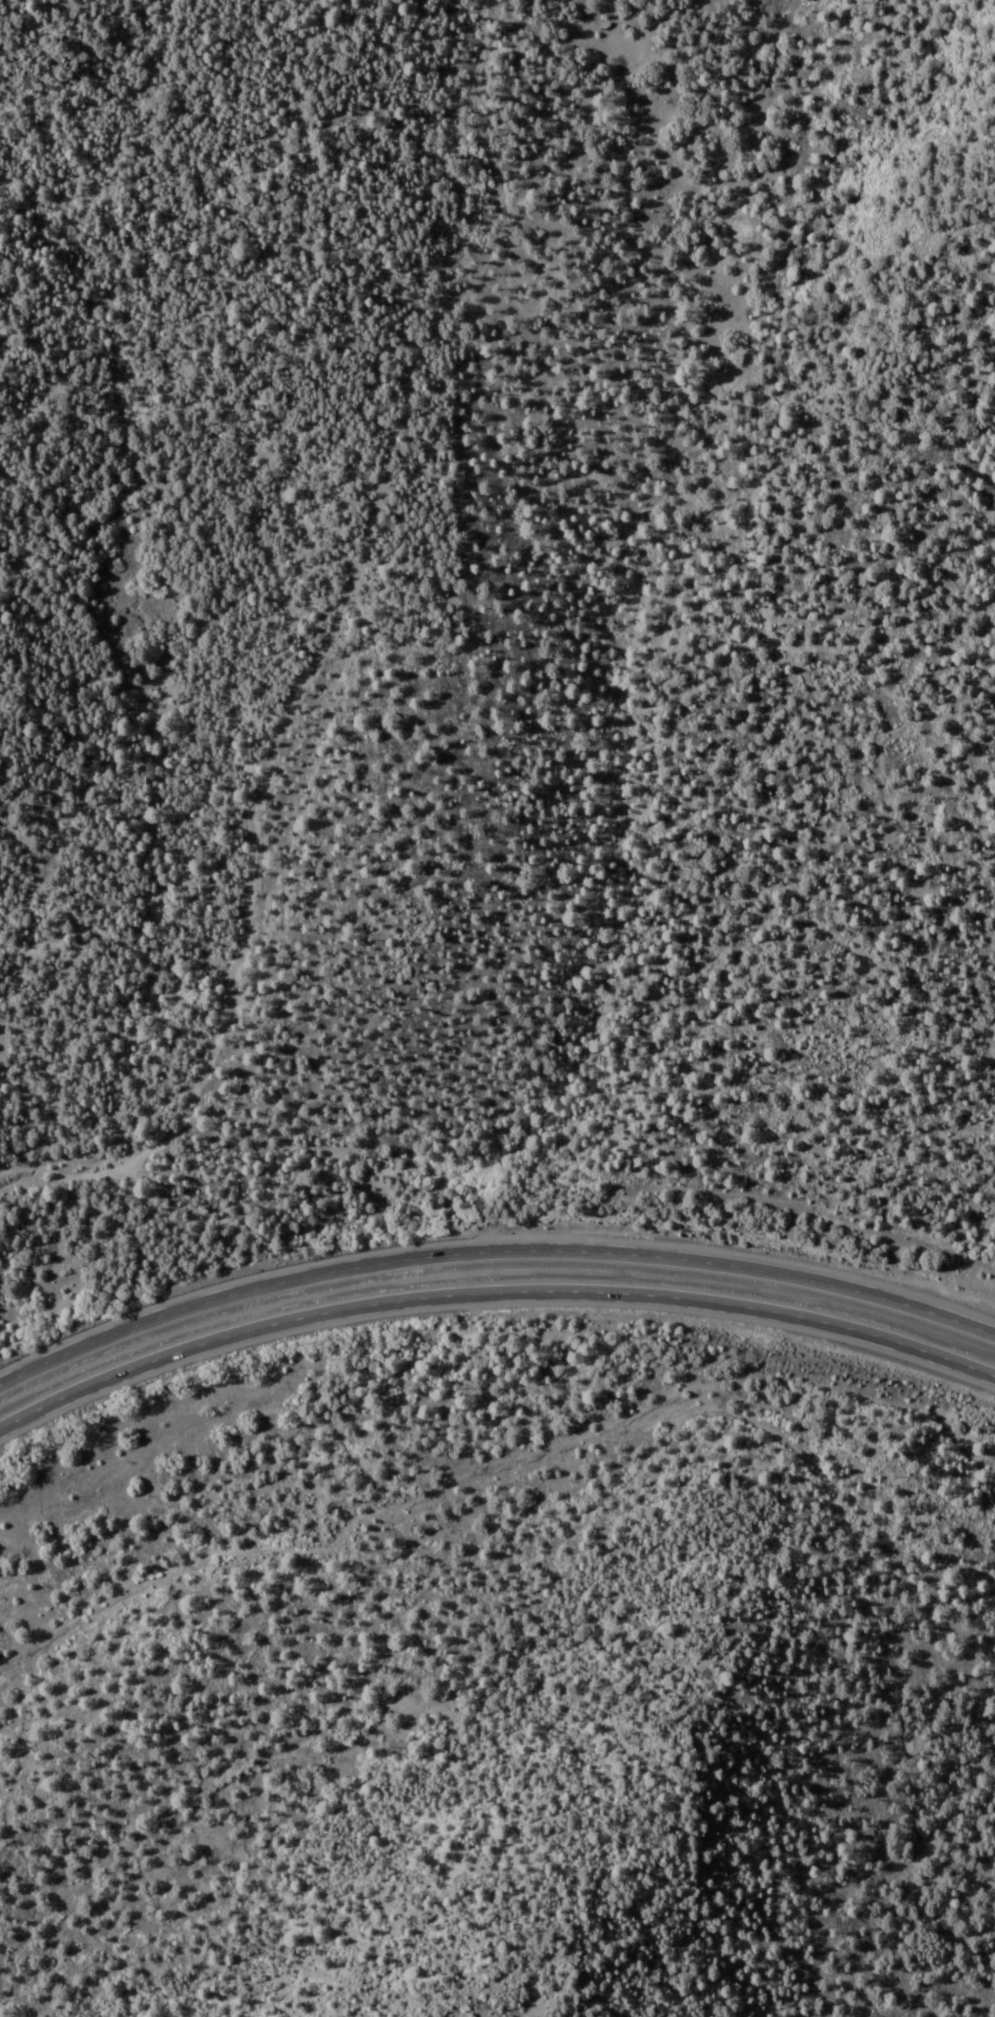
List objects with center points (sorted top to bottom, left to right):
road: (587, 99)
road: (968, 216)
road: (748, 518)
road: (320, 646)
road: (919, 699)
road: (490, 1248)
road: (491, 1292)
road: (968, 1441)

